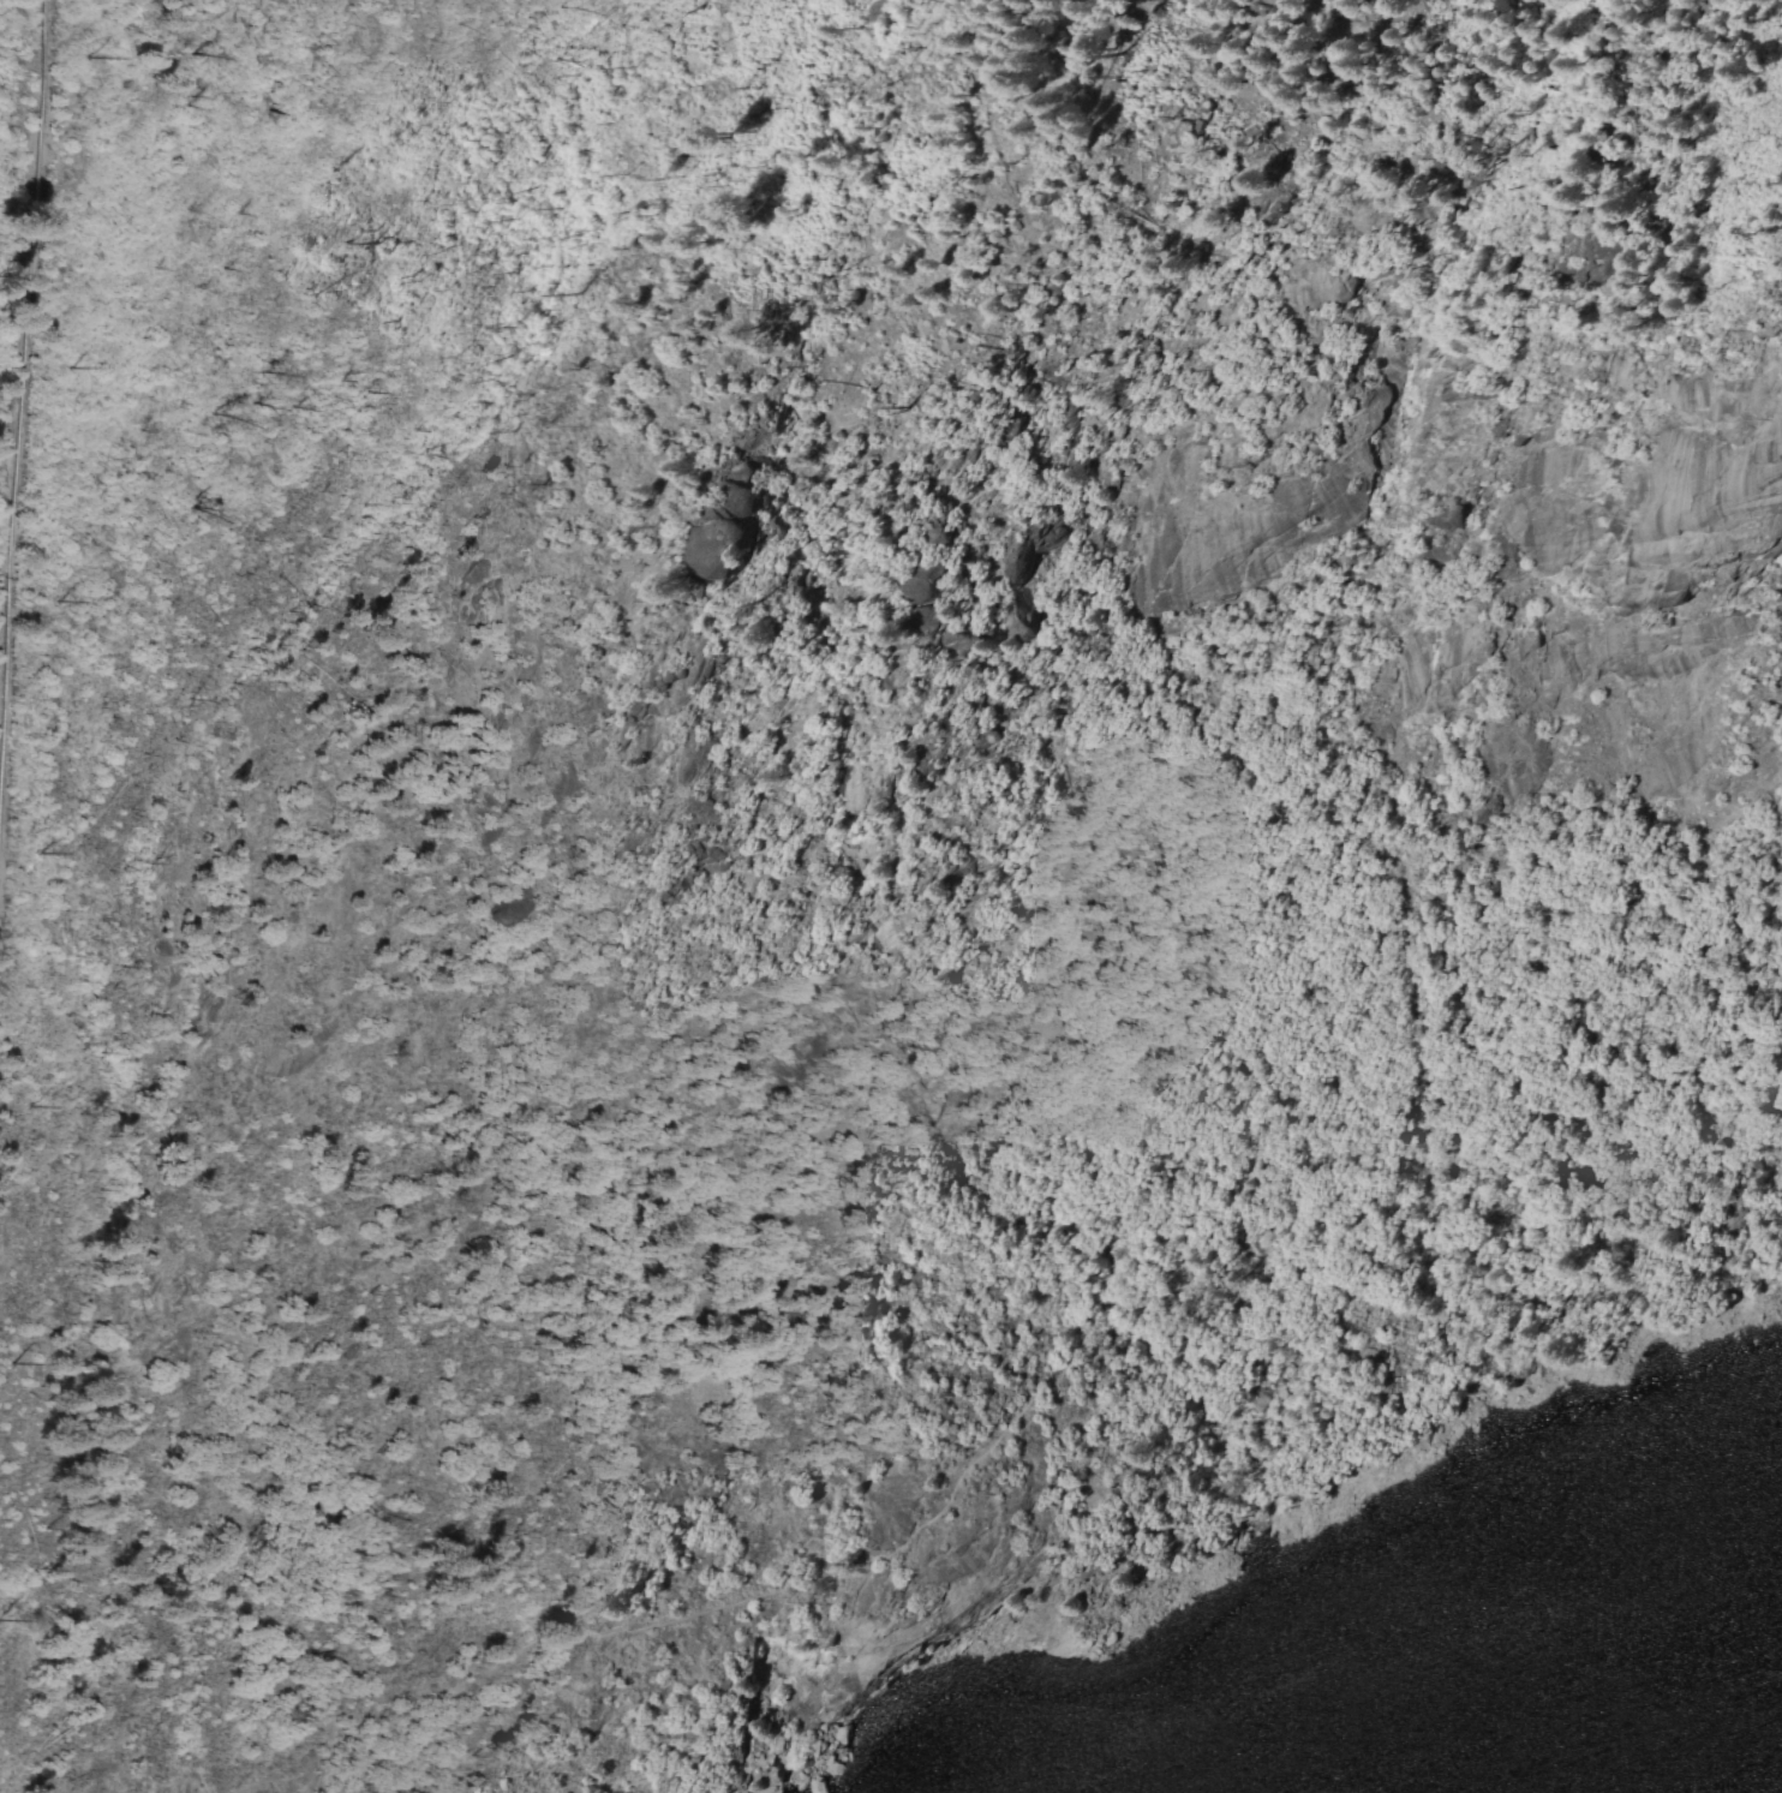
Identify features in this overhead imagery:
power tower: (78, 55)
power tower: (54, 367)
power tower: (50, 603)
power tower: (36, 853)
power tower: (11, 1108)
power tower: (12, 1364)
road: (1037, 1424)

